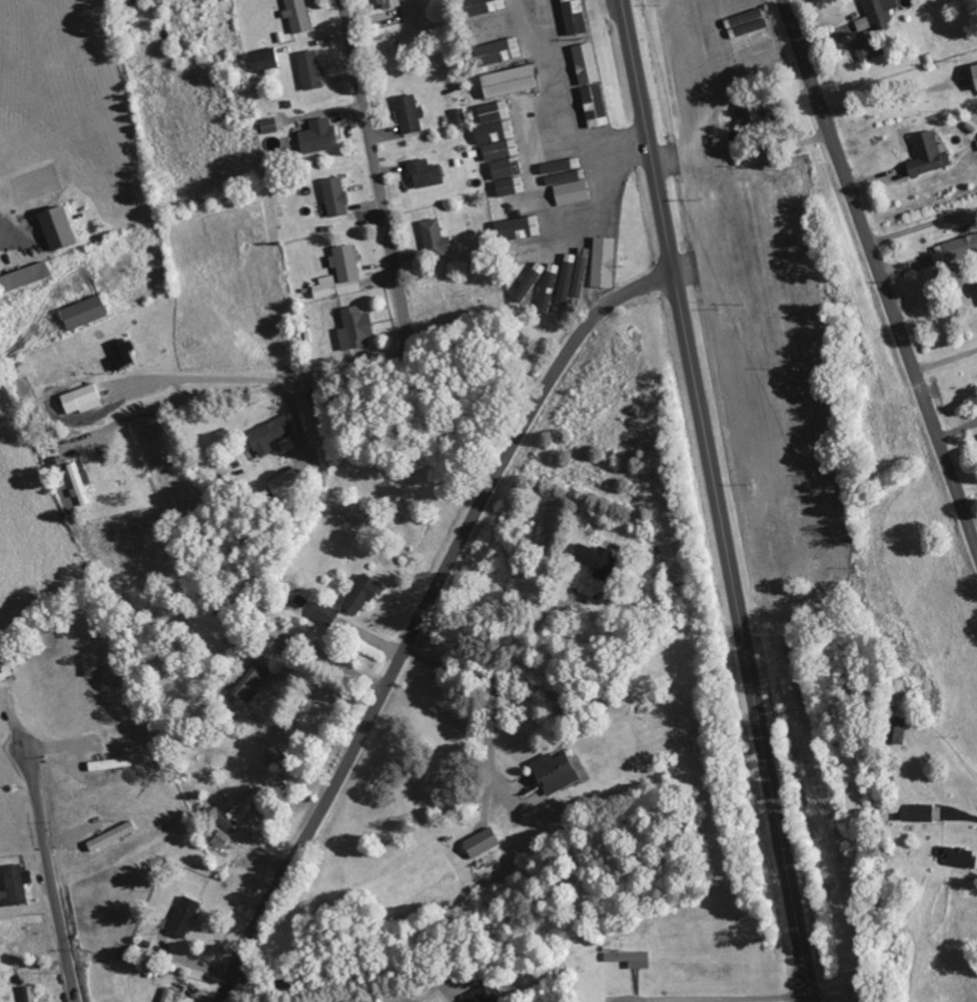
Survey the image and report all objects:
building: (388, 4)
building: (880, 12)
building: (543, 14)
building: (298, 16)
building: (490, 29)
building: (497, 52)
building: (869, 52)
building: (264, 61)
building: (585, 66)
building: (310, 70)
building: (975, 72)
building: (508, 82)
building: (595, 105)
building: (492, 113)
building: (410, 114)
building: (752, 114)
building: (459, 116)
building: (269, 126)
building: (496, 132)
building: (318, 137)
building: (501, 150)
building: (928, 155)
road: (374, 169)
building: (508, 170)
building: (563, 171)
building: (425, 174)
building: (510, 189)
building: (572, 193)
building: (335, 197)
building: (612, 227)
building: (58, 228)
building: (518, 230)
building: (435, 239)
building: (955, 249)
building: (525, 253)
building: (607, 268)
building: (341, 274)
road: (880, 274)
building: (568, 275)
building: (24, 277)
building: (554, 277)
building: (580, 278)
building: (975, 286)
building: (84, 313)
building: (355, 329)
building: (121, 354)
building: (81, 400)
building: (268, 436)
building: (287, 445)
building: (80, 484)
road: (716, 501)
building: (596, 561)
building: (361, 596)
road: (421, 613)
building: (326, 615)
building: (4, 671)
building: (250, 683)
building: (898, 732)
building: (110, 764)
building: (554, 773)
building: (247, 808)
building: (921, 814)
building: (225, 820)
building: (111, 837)
building: (221, 840)
building: (481, 844)
building: (959, 856)
road: (51, 877)
building: (15, 886)
building: (185, 917)
building: (630, 958)
building: (30, 994)
building: (485, 994)
building: (168, 995)
building: (368, 1000)

